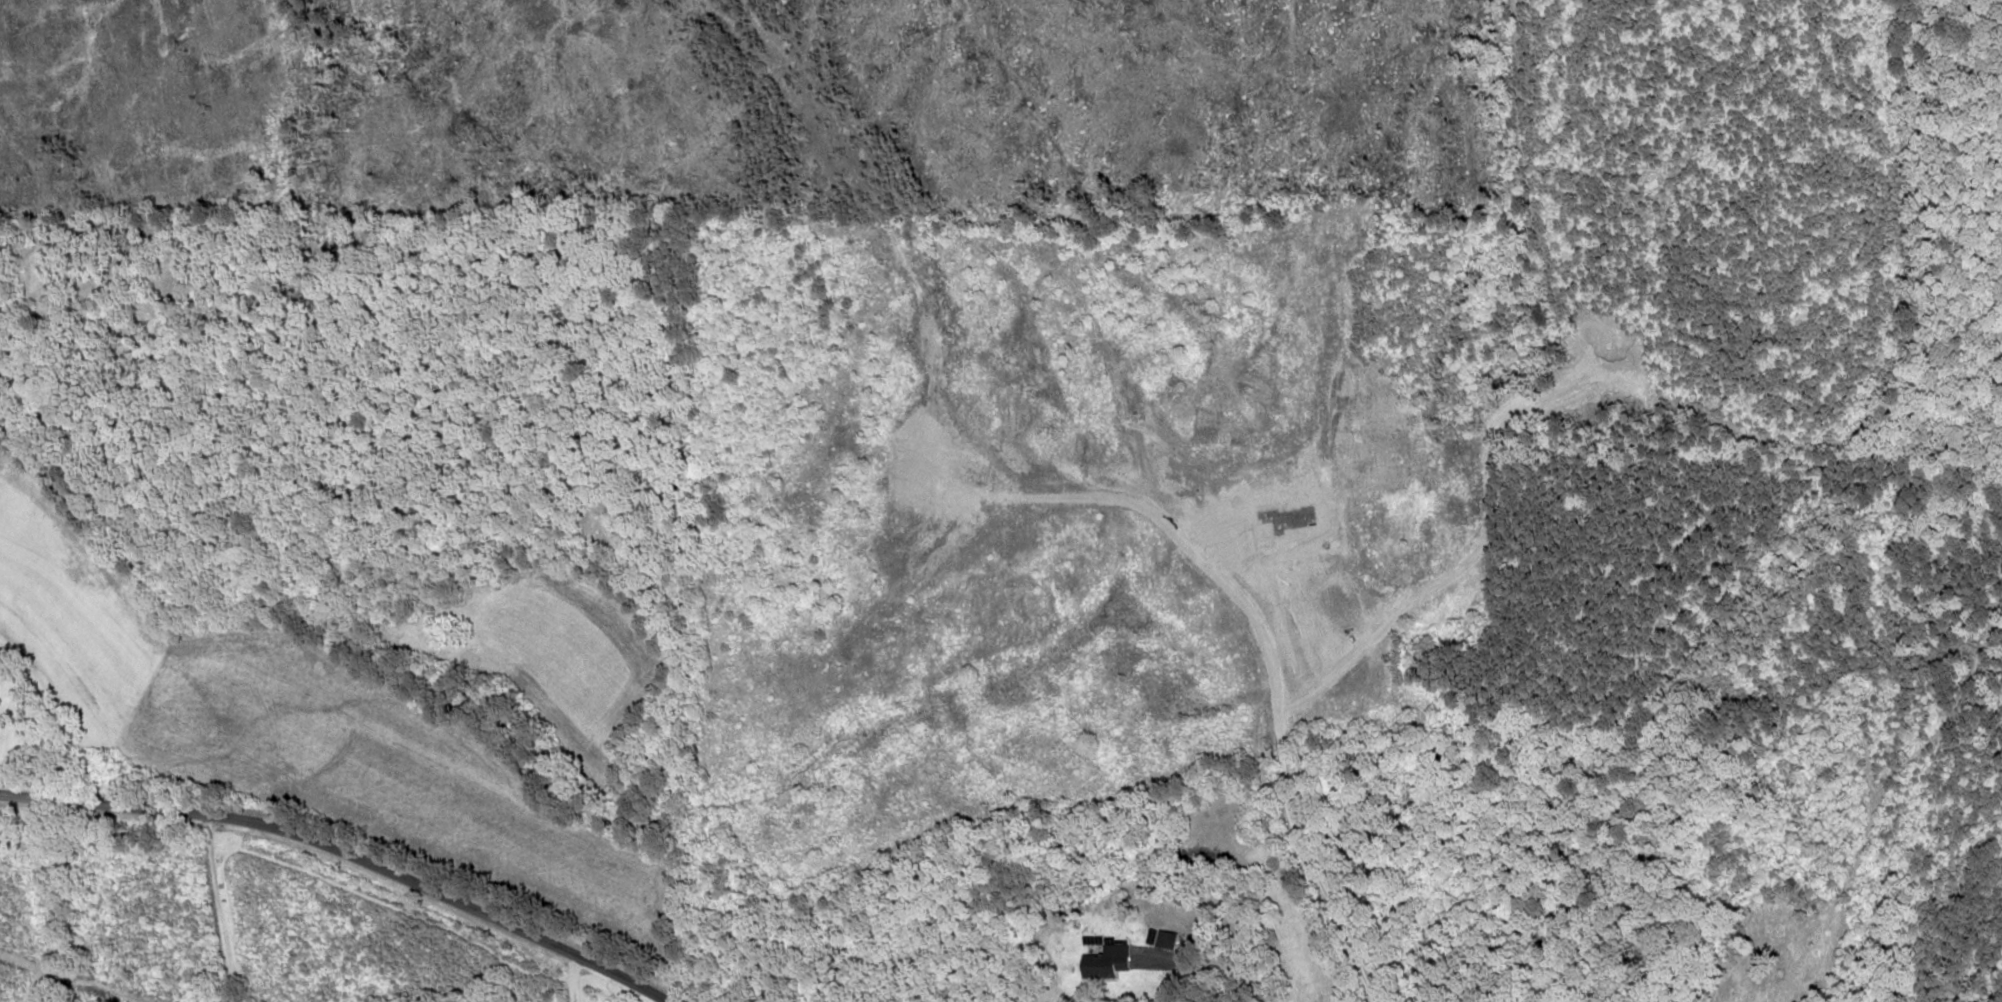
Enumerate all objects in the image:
road: (352, 852)
building: (1104, 961)

